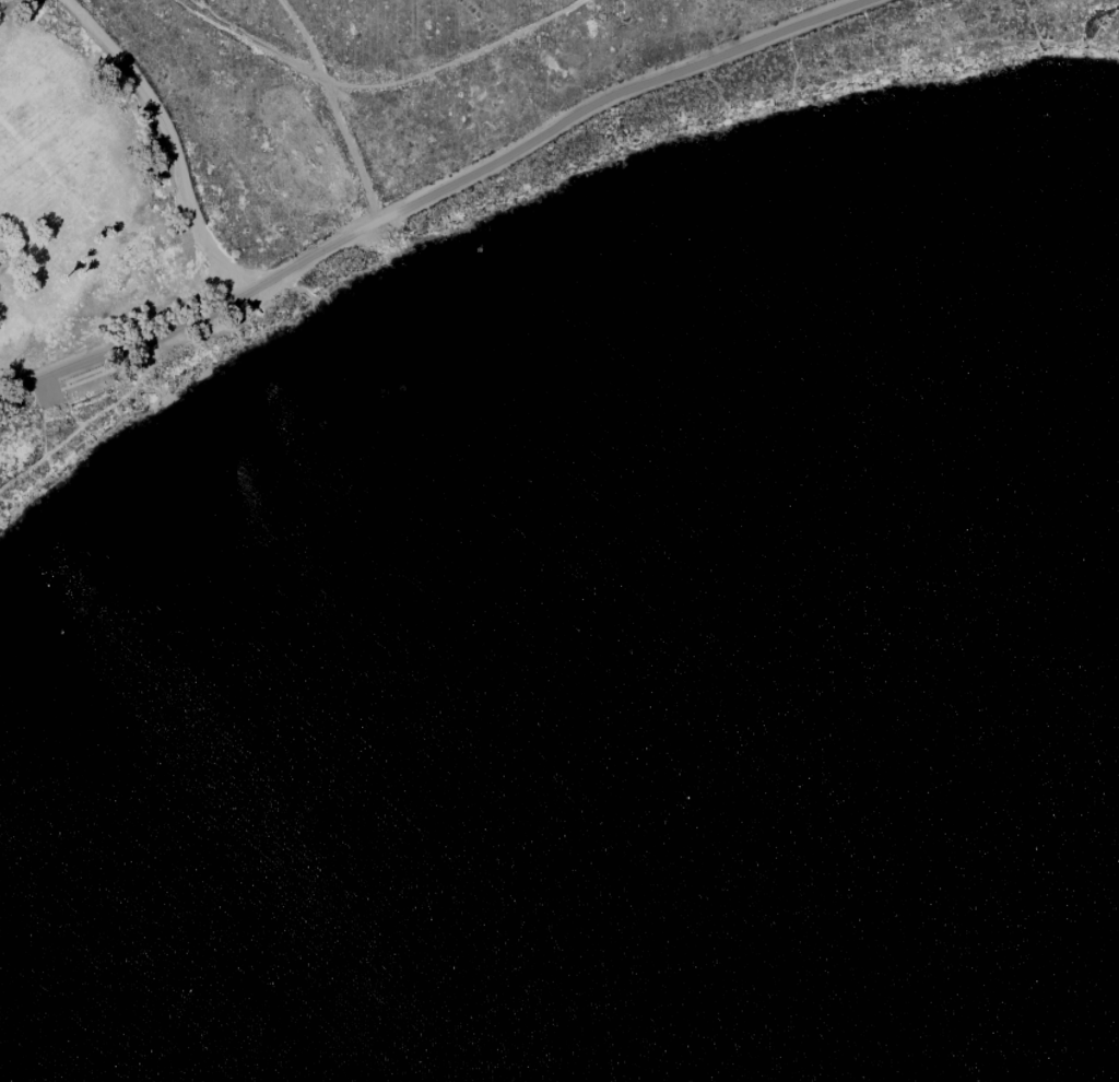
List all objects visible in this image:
road: (454, 60)
road: (332, 110)
road: (170, 141)
road: (434, 196)

